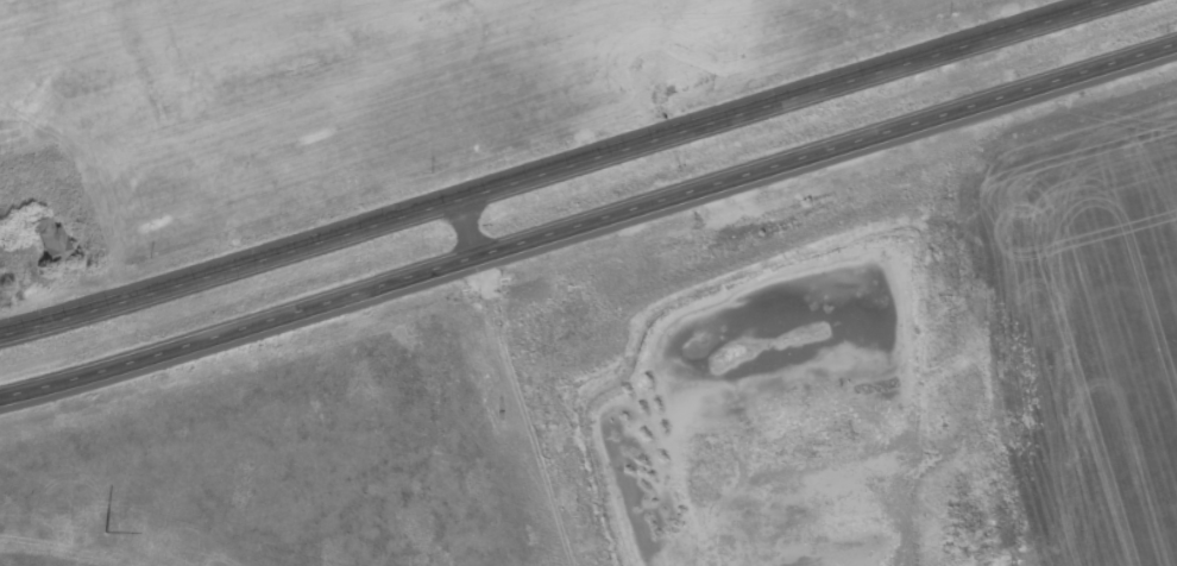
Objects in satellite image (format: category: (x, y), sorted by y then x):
road: (560, 169)
road: (588, 228)
building: (53, 243)
road: (509, 383)
power tower: (107, 535)

